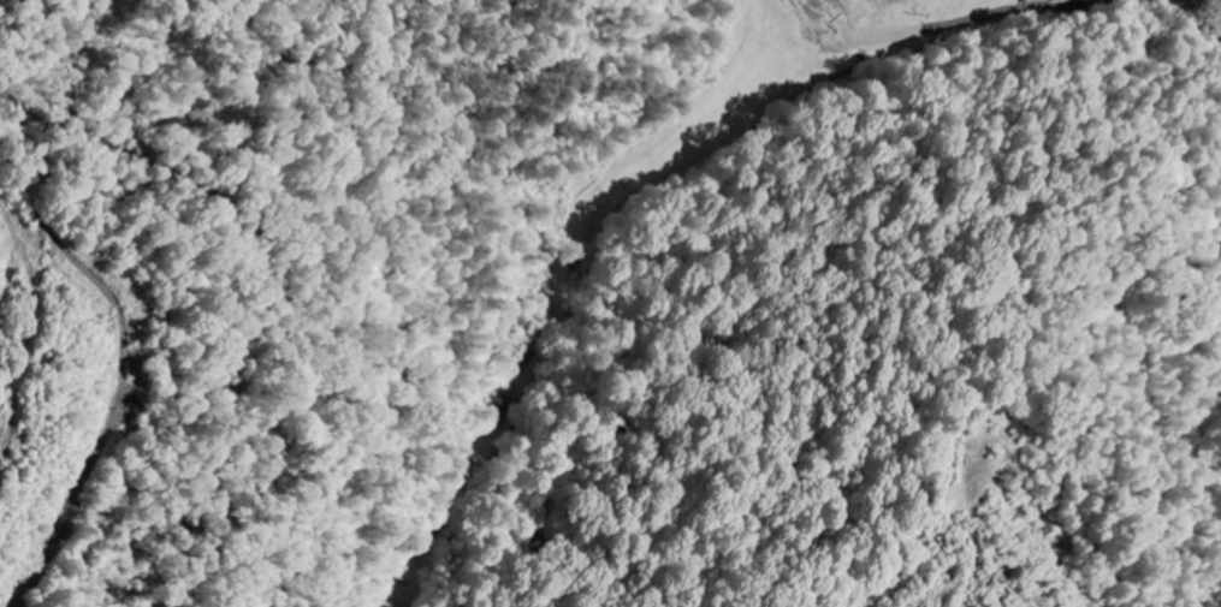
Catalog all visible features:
building: (1054, 0)
road: (1029, 7)
road: (1191, 17)
road: (14, 233)

